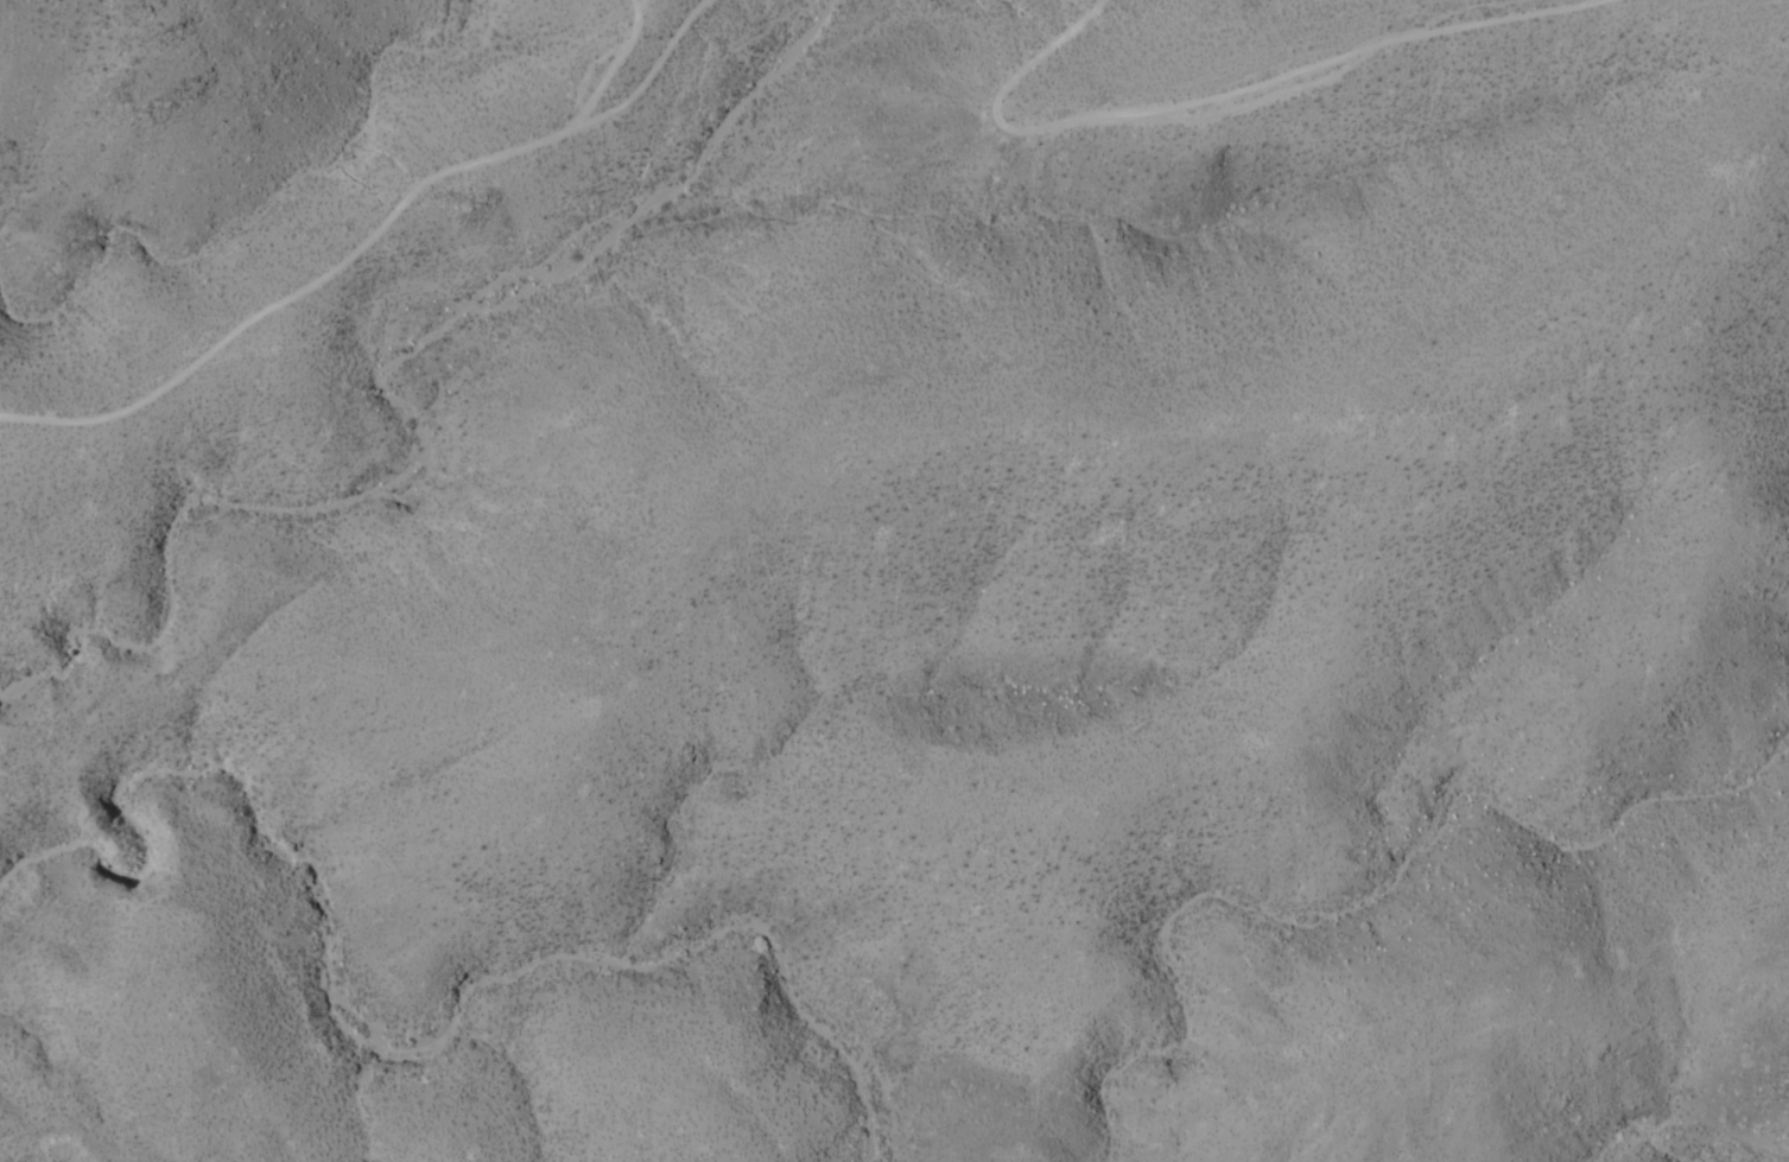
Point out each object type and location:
road: (613, 66)
road: (1200, 102)
road: (368, 231)

